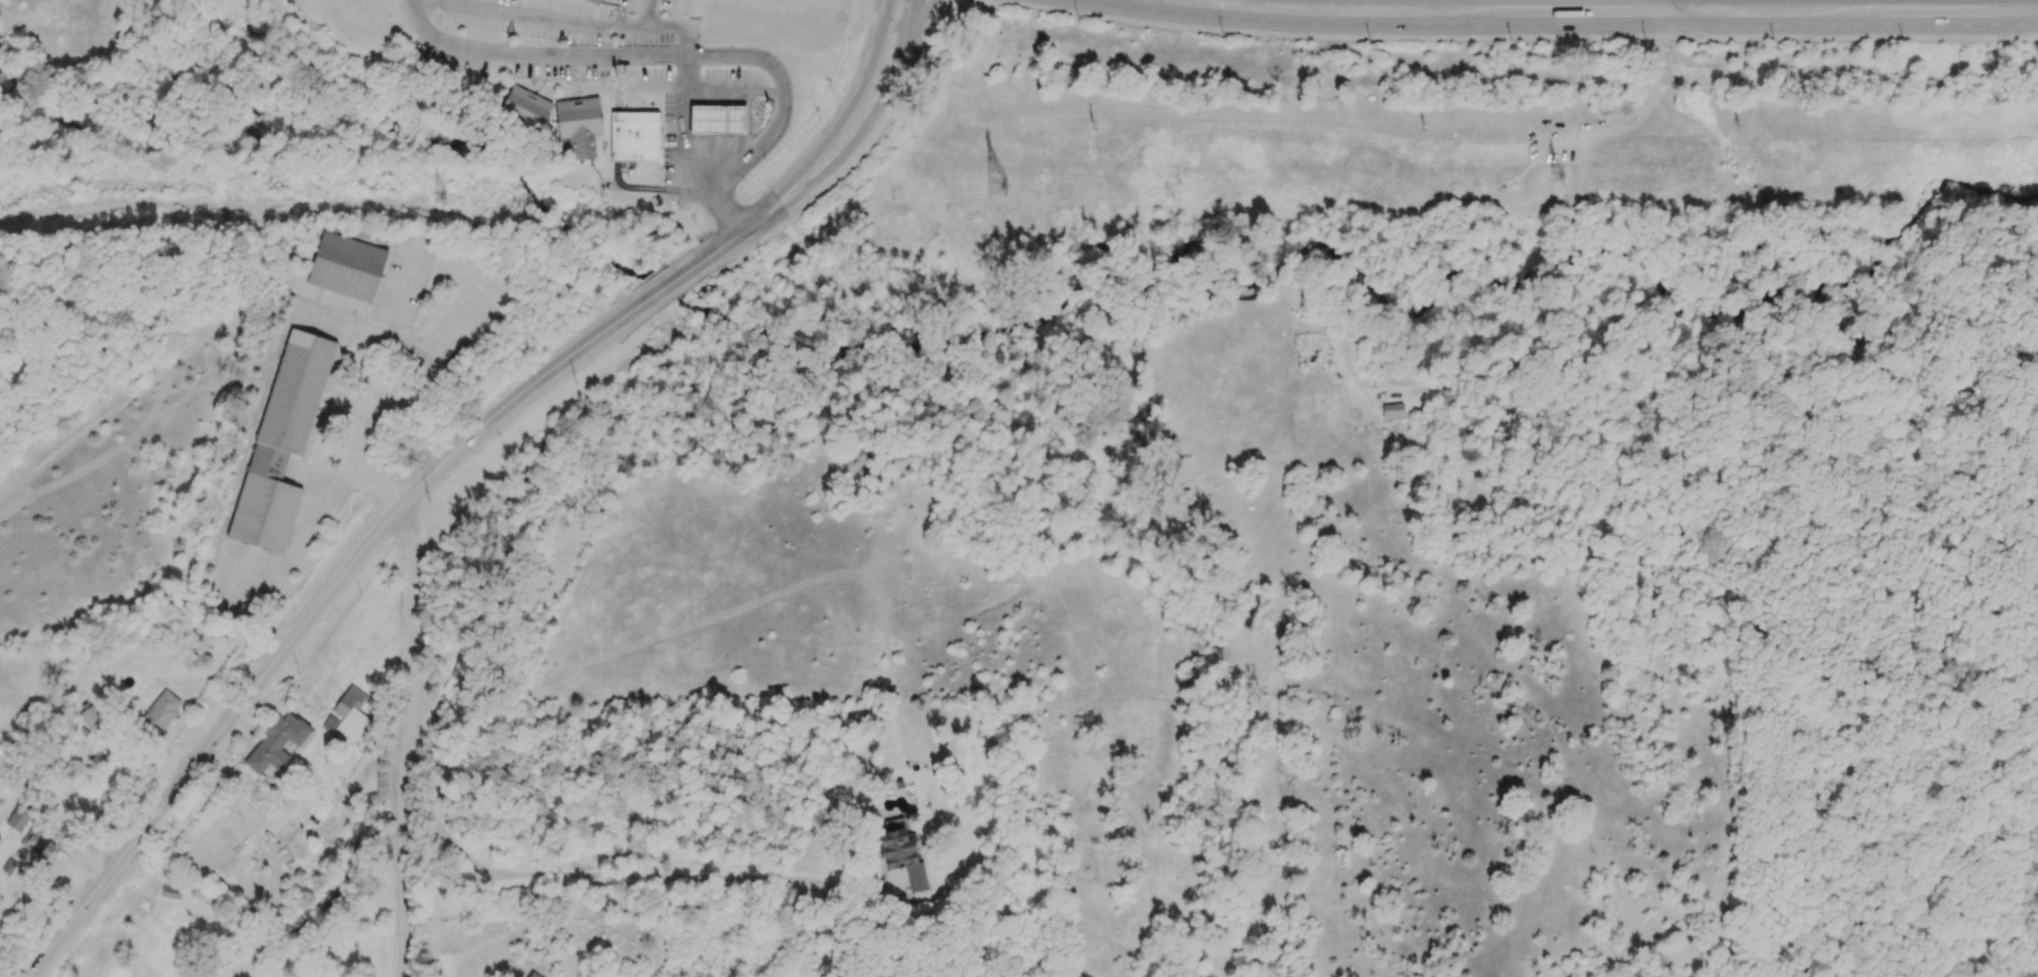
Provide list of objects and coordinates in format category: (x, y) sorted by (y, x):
building: (601, 2)
road: (1668, 13)
road: (2029, 13)
road: (563, 23)
road: (1556, 26)
road: (684, 56)
road: (732, 89)
building: (525, 107)
building: (716, 120)
road: (1614, 122)
building: (578, 126)
power tower: (1096, 126)
road: (682, 128)
power tower: (1426, 128)
road: (836, 130)
power tower: (1744, 130)
building: (634, 136)
road: (860, 140)
power tower: (1558, 178)
power tower: (997, 188)
power tower: (439, 201)
road: (393, 229)
road: (1582, 248)
building: (346, 266)
road: (402, 286)
road: (459, 333)
road: (1488, 375)
road: (422, 385)
building: (299, 390)
building: (1392, 410)
building: (264, 512)
road: (282, 567)
road: (348, 570)
building: (159, 713)
building: (351, 713)
building: (329, 723)
road: (408, 736)
building: (277, 742)
building: (18, 818)
building: (37, 841)
building: (903, 853)
road: (643, 877)
building: (171, 891)
building: (533, 975)

